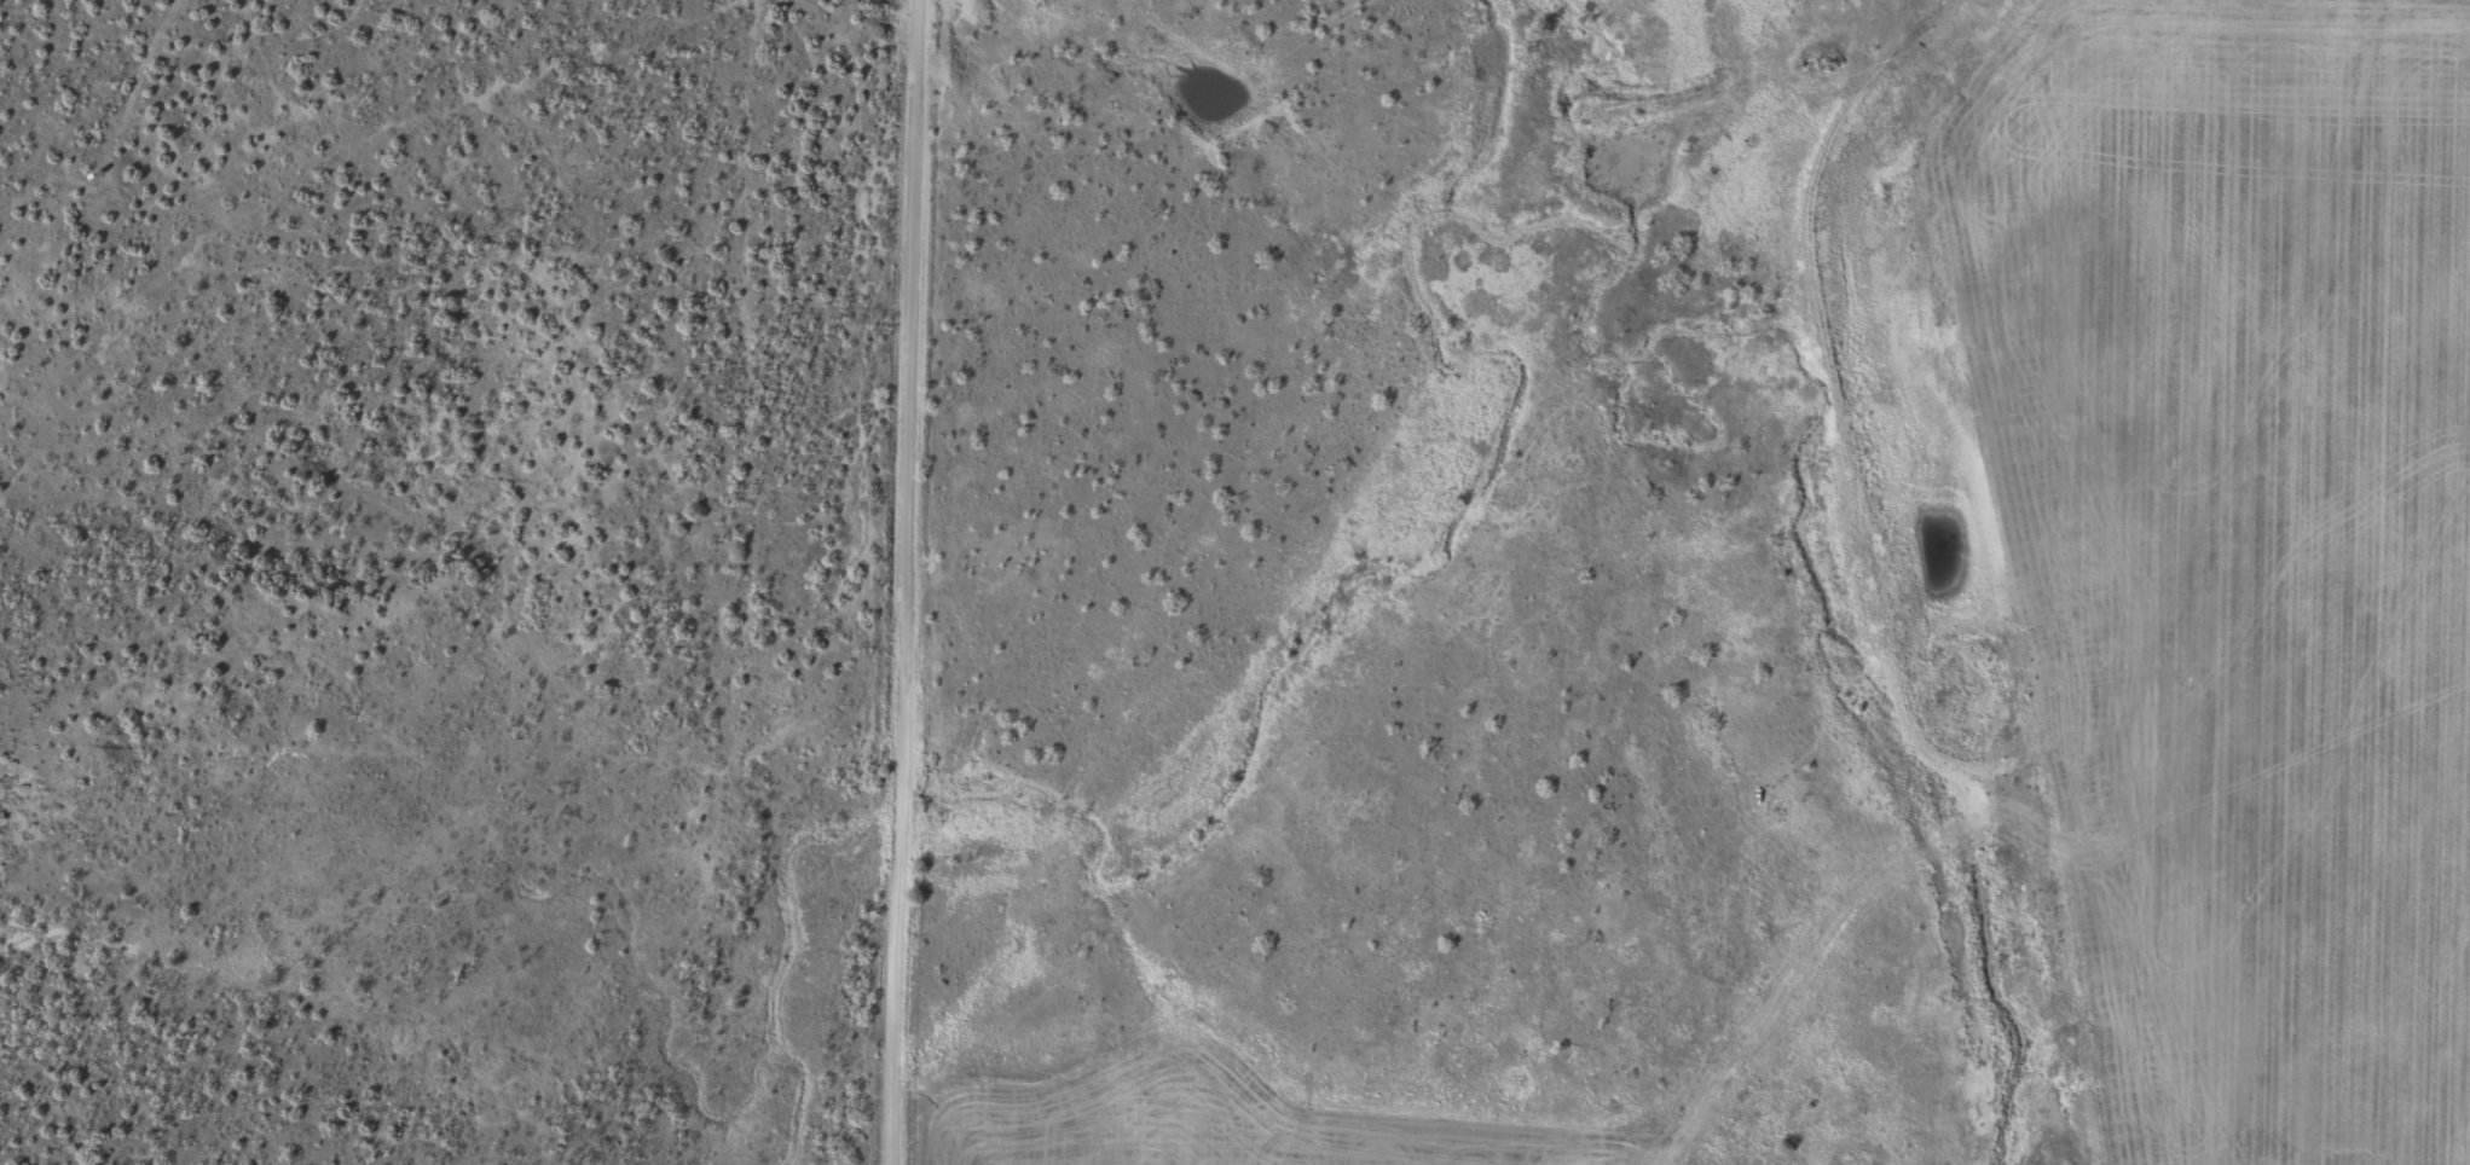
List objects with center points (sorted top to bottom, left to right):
road: (907, 582)

